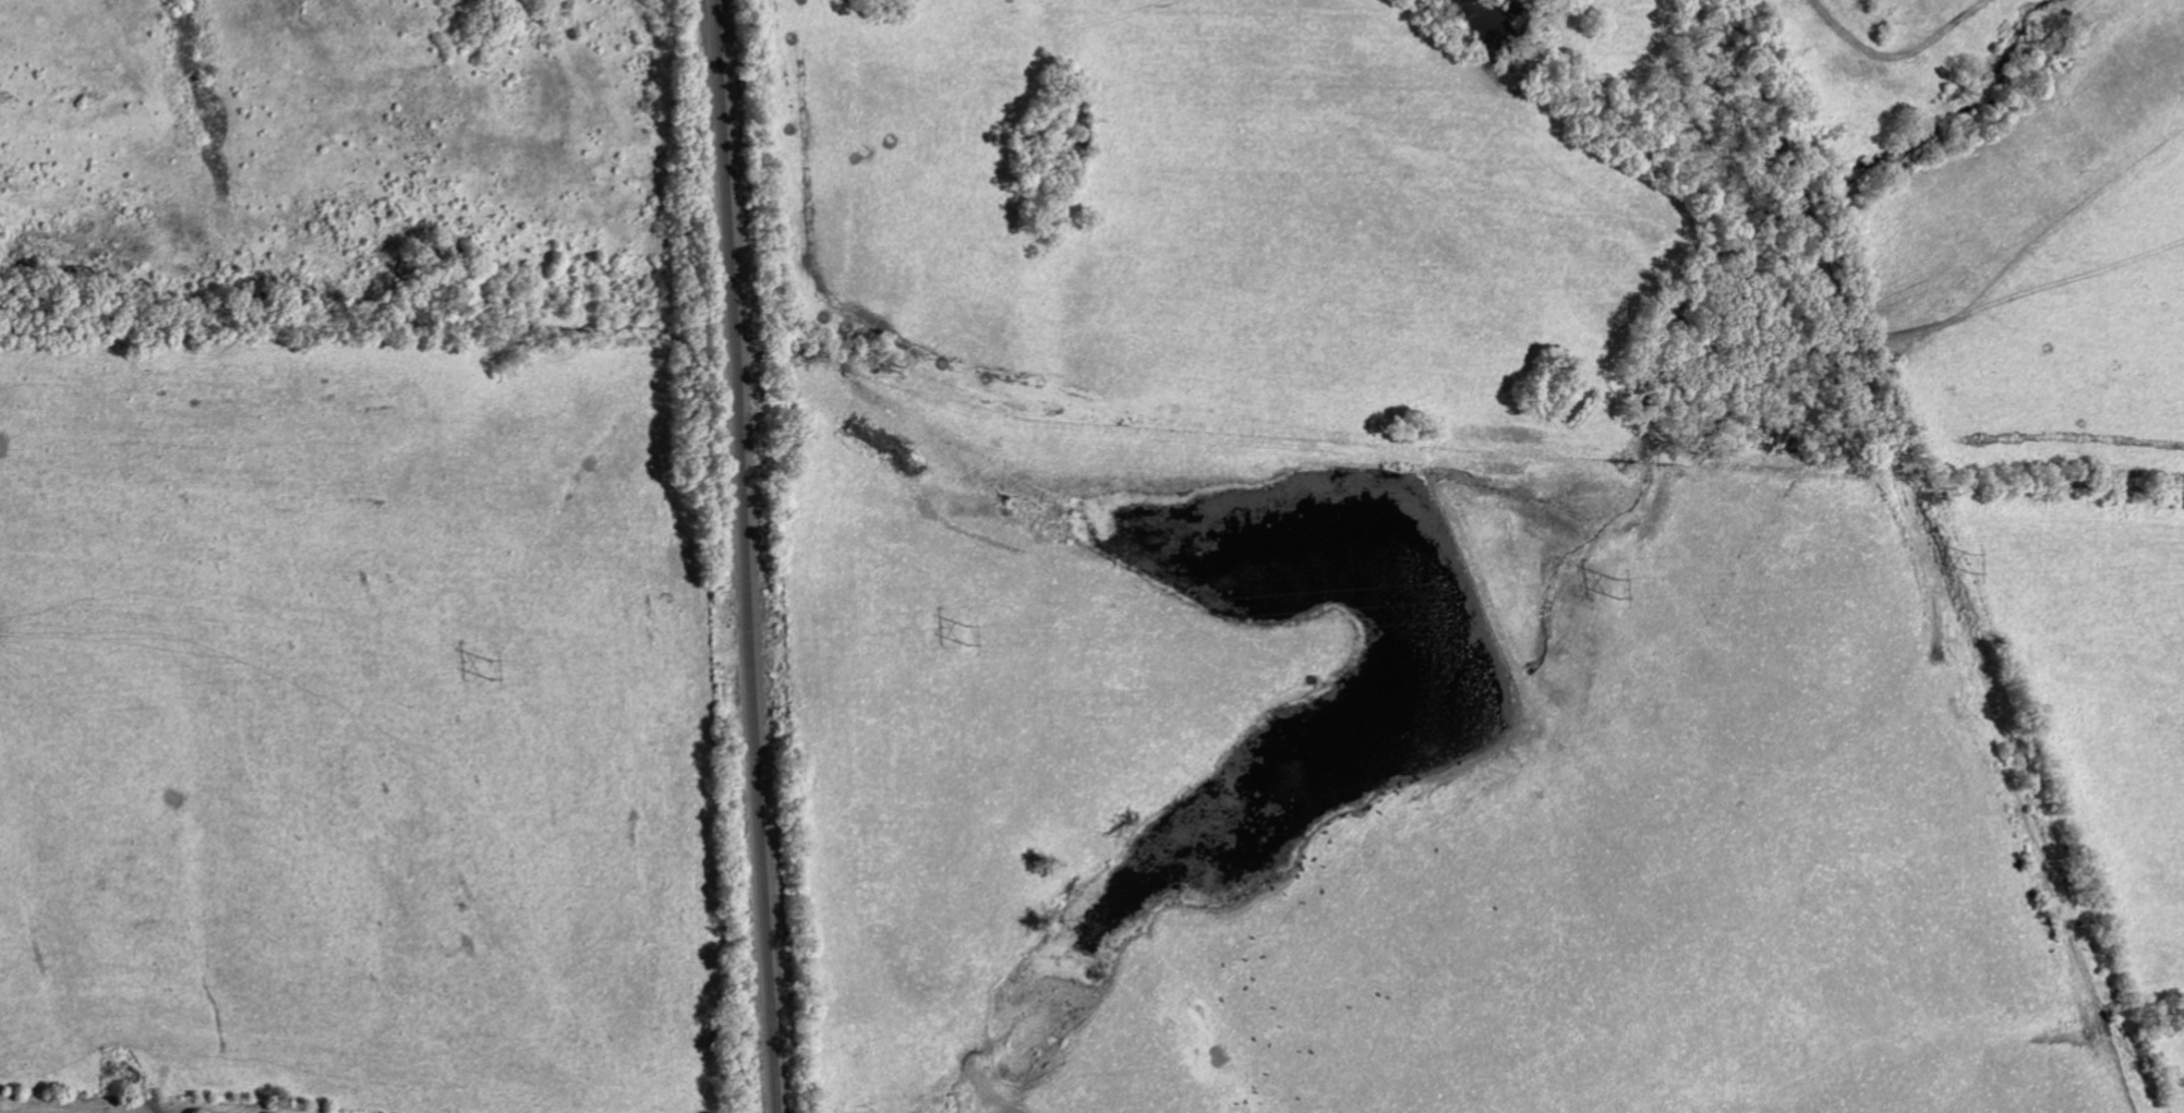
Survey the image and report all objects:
road: (2044, 165)
railway: (752, 556)
power tower: (1971, 561)
power tower: (1617, 586)
power tower: (967, 634)
power tower: (491, 669)

